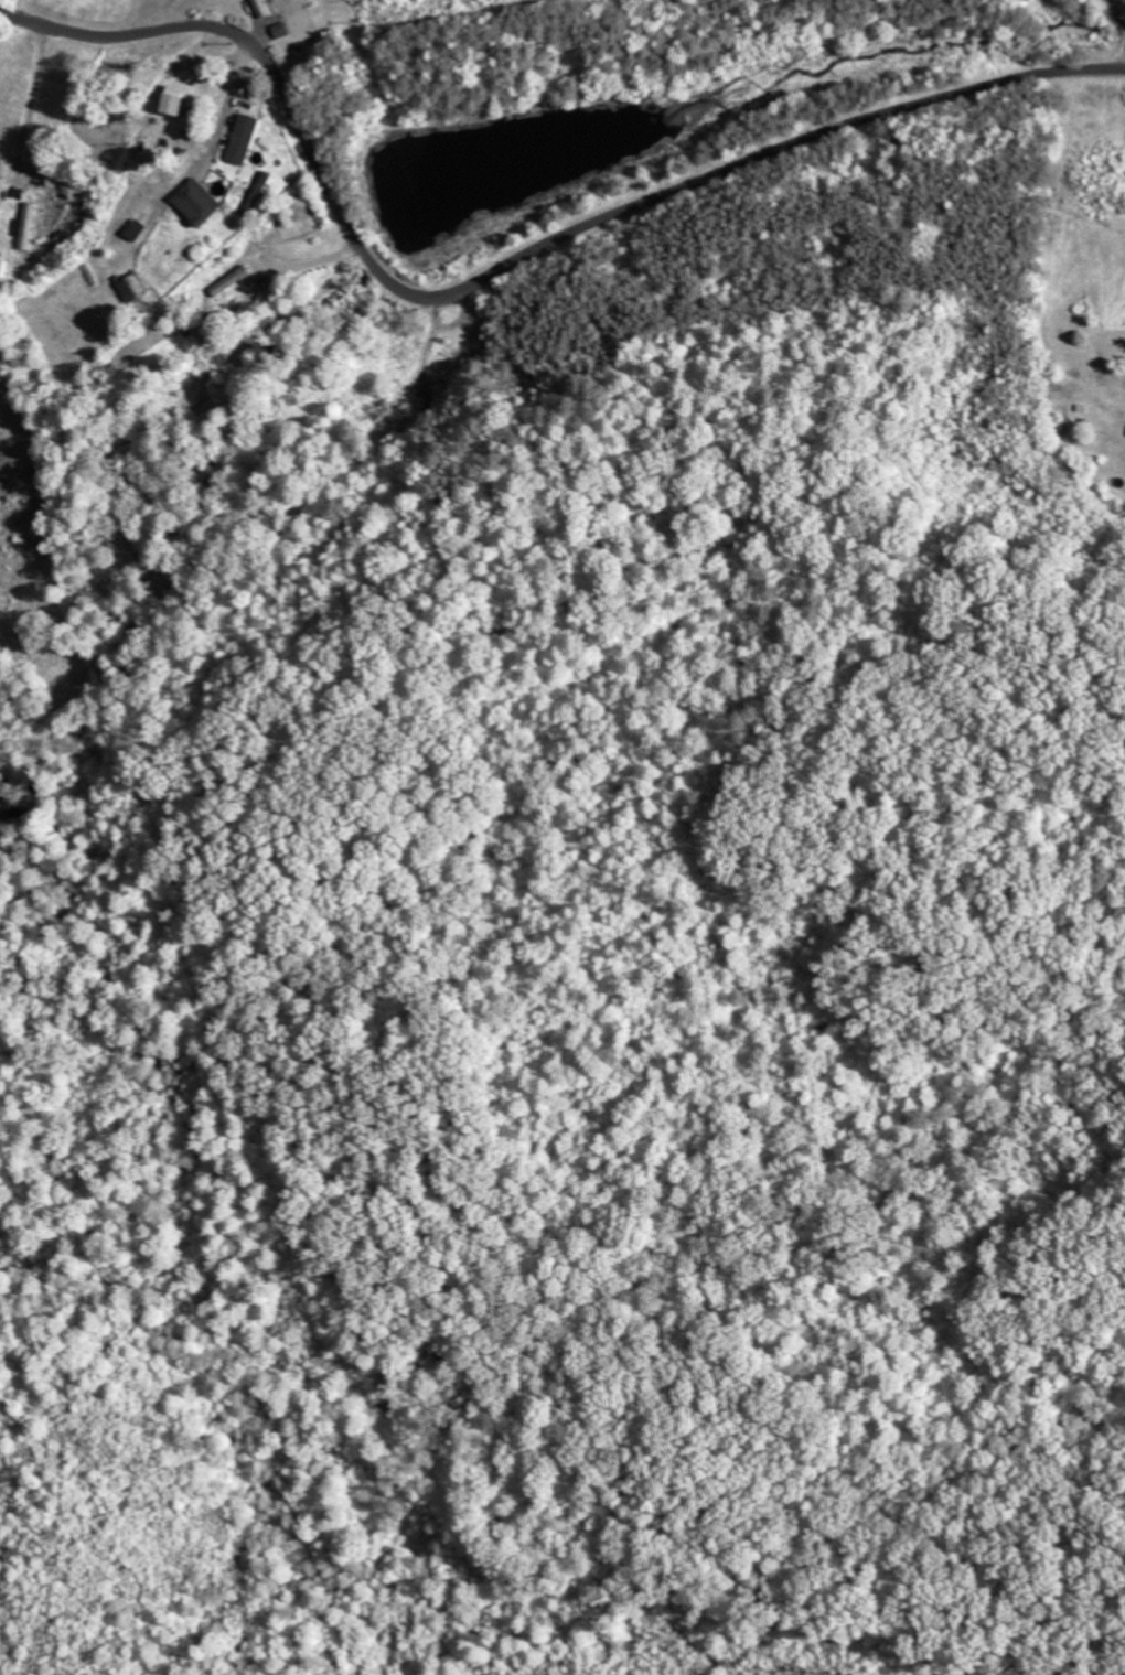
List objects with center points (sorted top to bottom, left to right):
building: (267, 9)
building: (286, 30)
building: (184, 99)
building: (250, 139)
building: (262, 193)
building: (204, 203)
road: (296, 222)
building: (31, 225)
building: (142, 230)
road: (499, 270)
building: (234, 280)
building: (139, 288)

